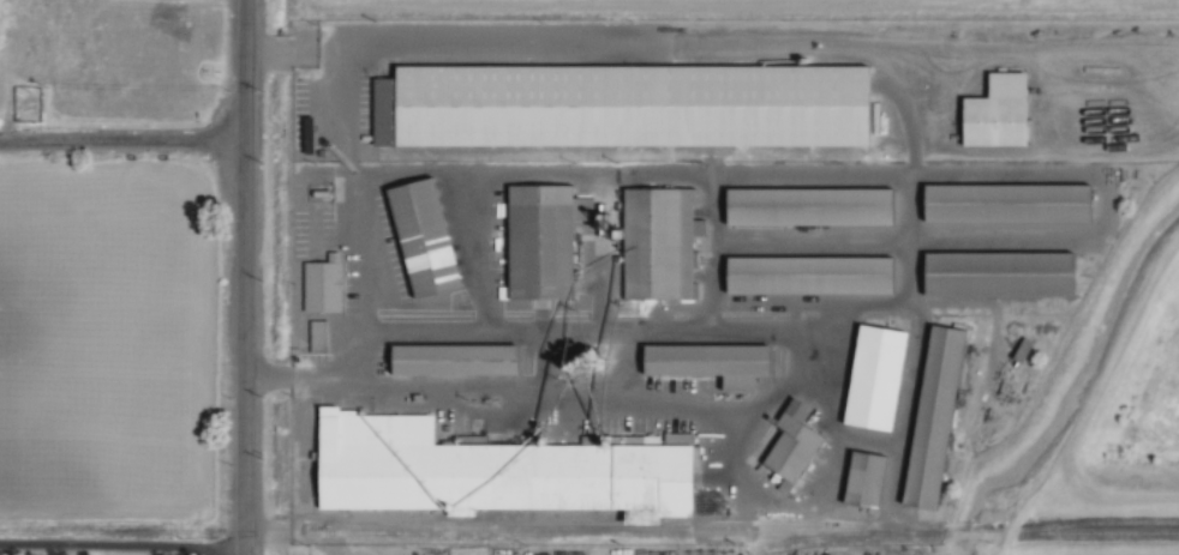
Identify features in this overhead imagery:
building: (628, 105)
building: (1003, 113)
road: (122, 141)
building: (1013, 203)
building: (815, 206)
road: (365, 224)
building: (429, 236)
building: (546, 239)
building: (663, 242)
building: (1005, 273)
building: (815, 275)
road: (244, 277)
building: (325, 284)
building: (321, 336)
building: (1024, 350)
building: (460, 360)
building: (716, 362)
building: (879, 378)
building: (938, 416)
building: (796, 445)
building: (496, 470)
building: (869, 479)
railway: (635, 525)
railway: (1073, 526)
railway: (761, 536)
railway: (804, 539)
road: (121, 548)

